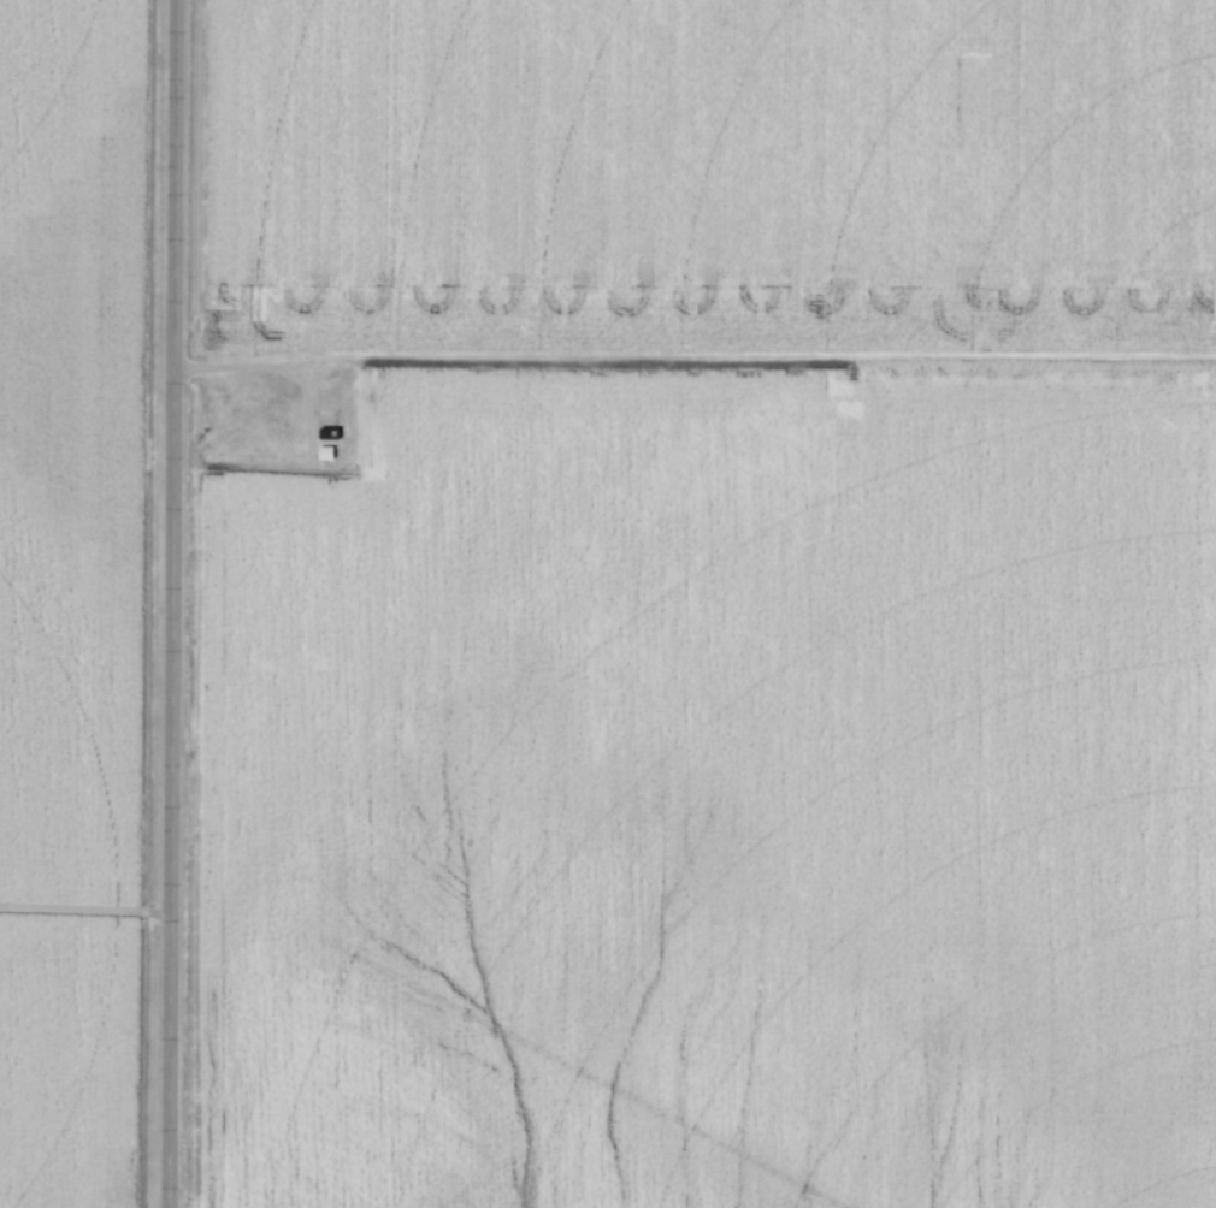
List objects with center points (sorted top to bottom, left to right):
building: (333, 436)
road: (166, 603)

